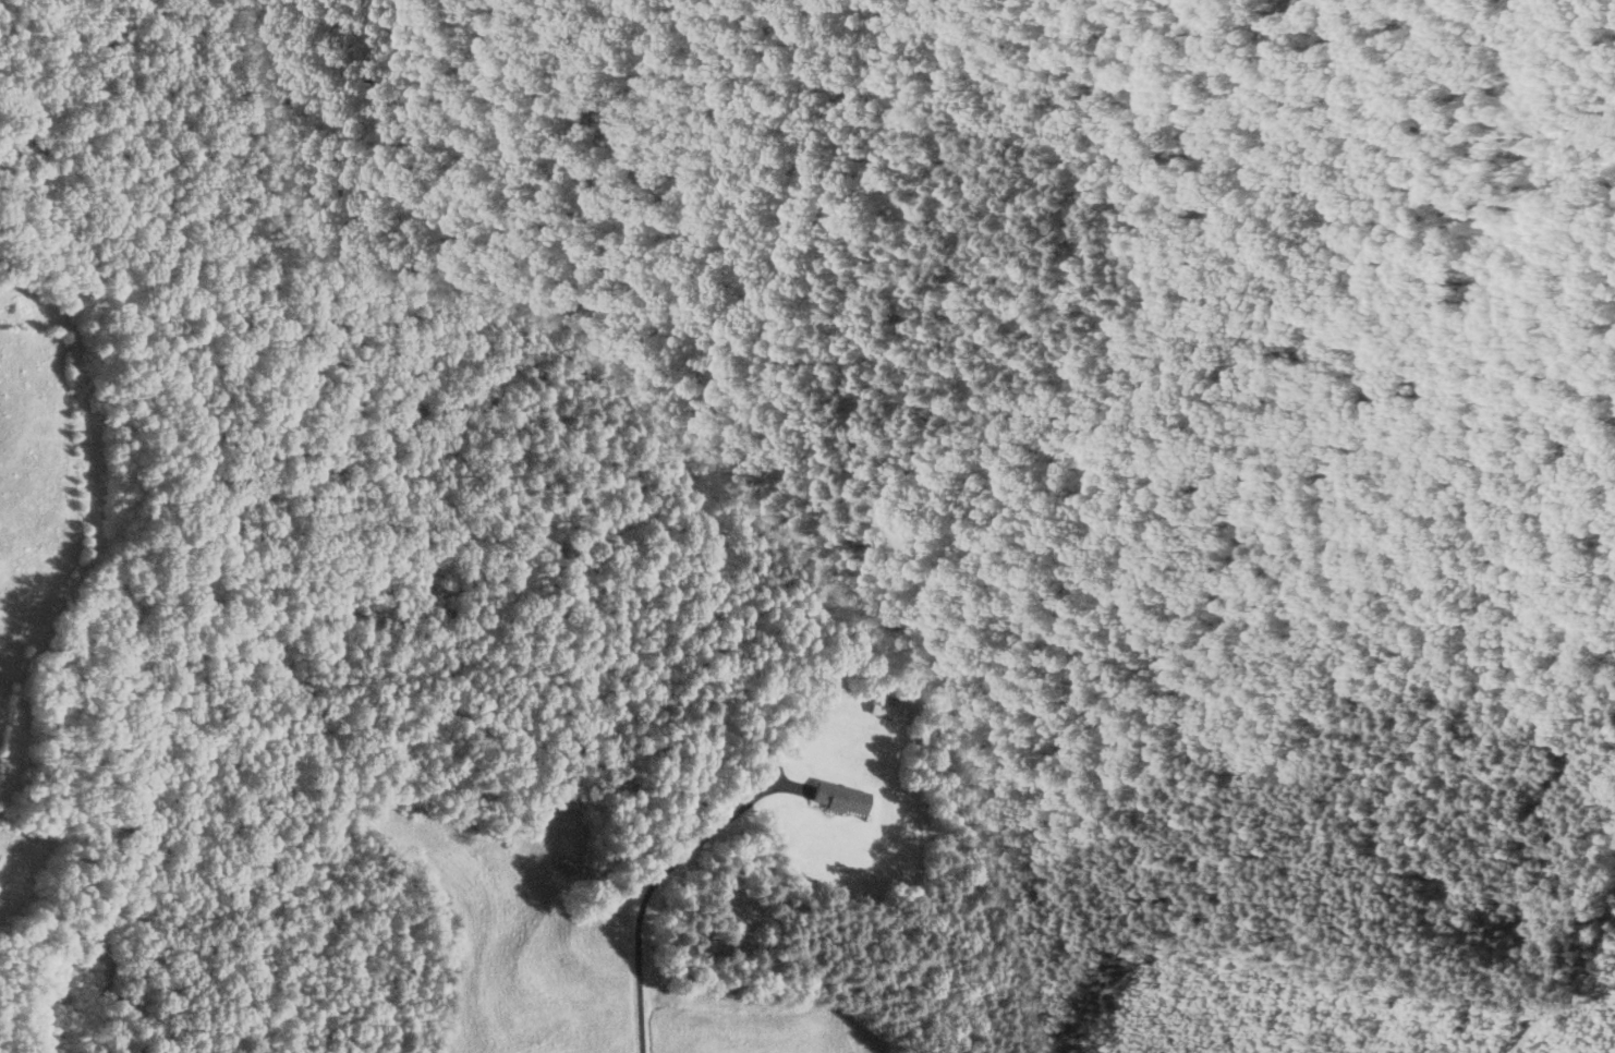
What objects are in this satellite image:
building: (887, 705)
building: (841, 798)
road: (649, 886)

